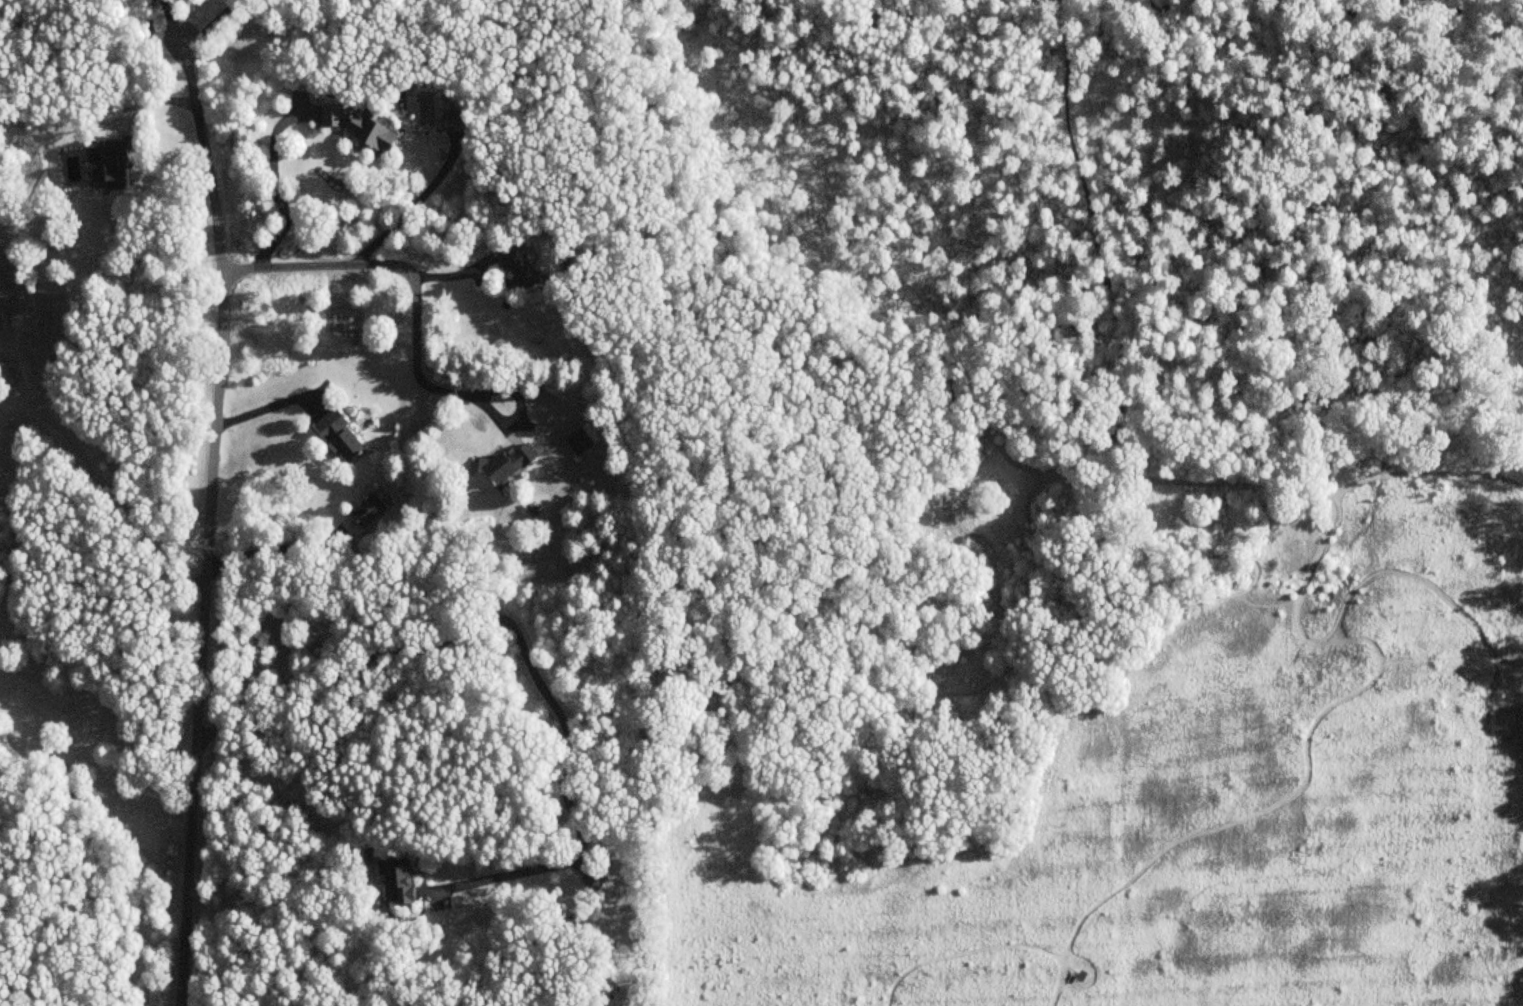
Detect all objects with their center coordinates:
road: (172, 25)
road: (211, 25)
building: (331, 115)
building: (452, 121)
building: (371, 131)
building: (106, 165)
road: (274, 185)
road: (409, 209)
building: (517, 263)
road: (408, 276)
road: (270, 409)
road: (965, 431)
building: (338, 436)
building: (577, 441)
road: (1086, 455)
building: (507, 464)
road: (97, 483)
park: (1080, 500)
building: (366, 511)
road: (770, 525)
road: (207, 527)
road: (269, 549)
road: (834, 635)
road: (520, 641)
building: (394, 881)
building: (596, 883)

